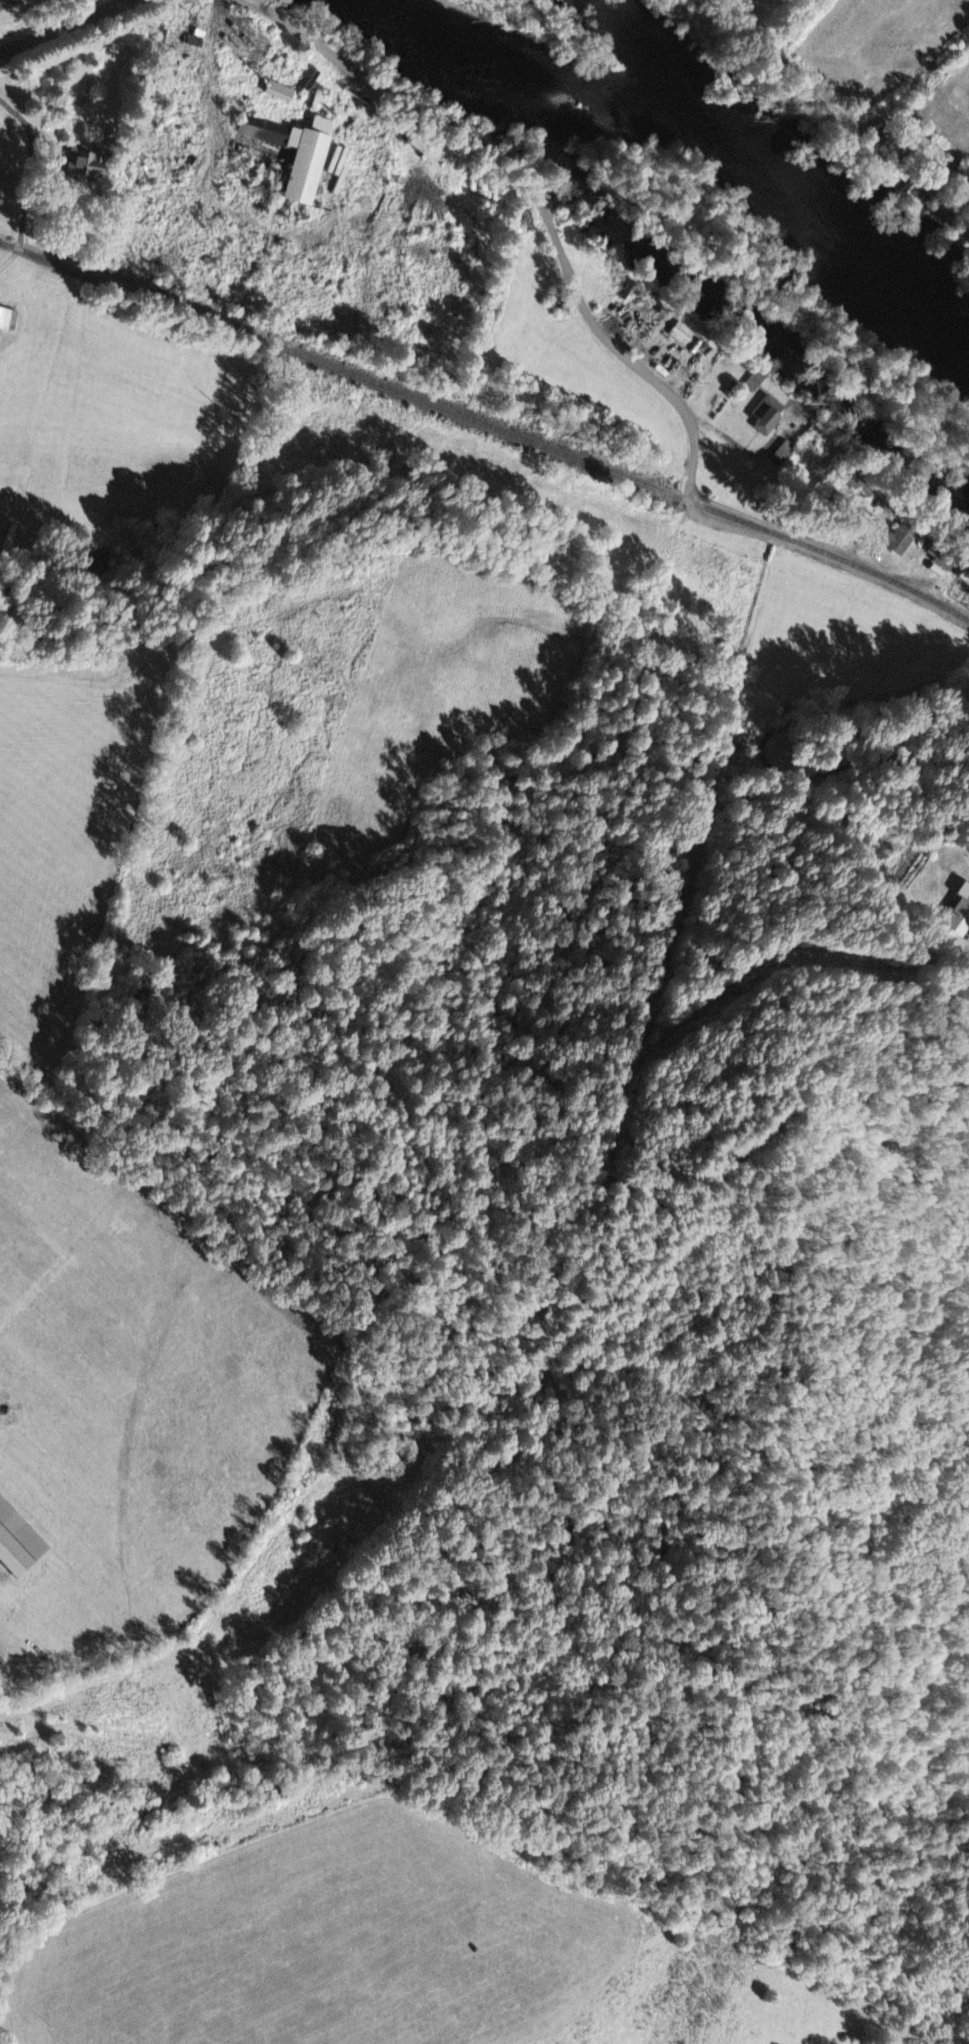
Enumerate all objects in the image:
road: (61, 26)
river: (423, 35)
river: (578, 81)
building: (276, 94)
building: (290, 156)
building: (81, 164)
river: (779, 170)
building: (916, 184)
river: (899, 261)
river: (941, 293)
building: (6, 323)
building: (678, 335)
road: (608, 340)
building: (763, 416)
railway: (487, 424)
building: (780, 454)
road: (808, 537)
building: (896, 541)
building: (732, 742)
building: (960, 915)
building: (17, 1544)

